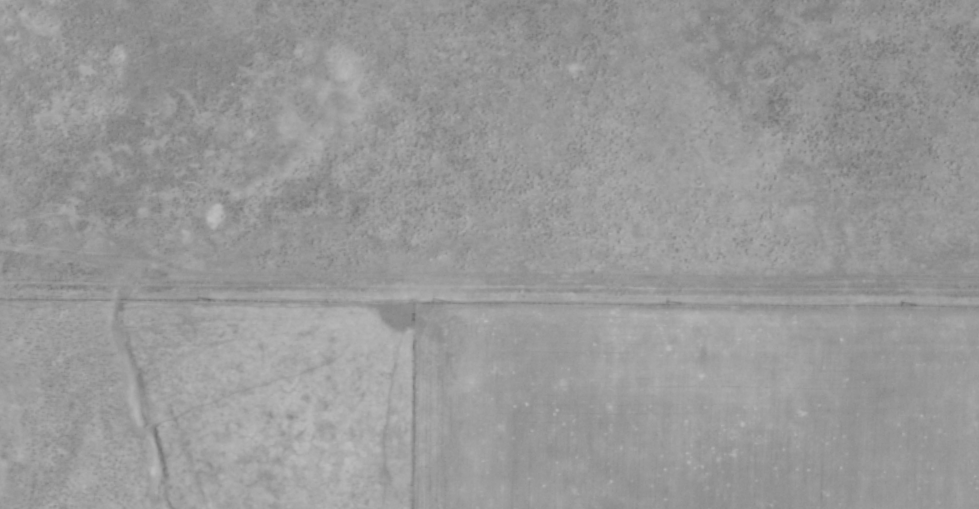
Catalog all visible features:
crop: (489, 254)

